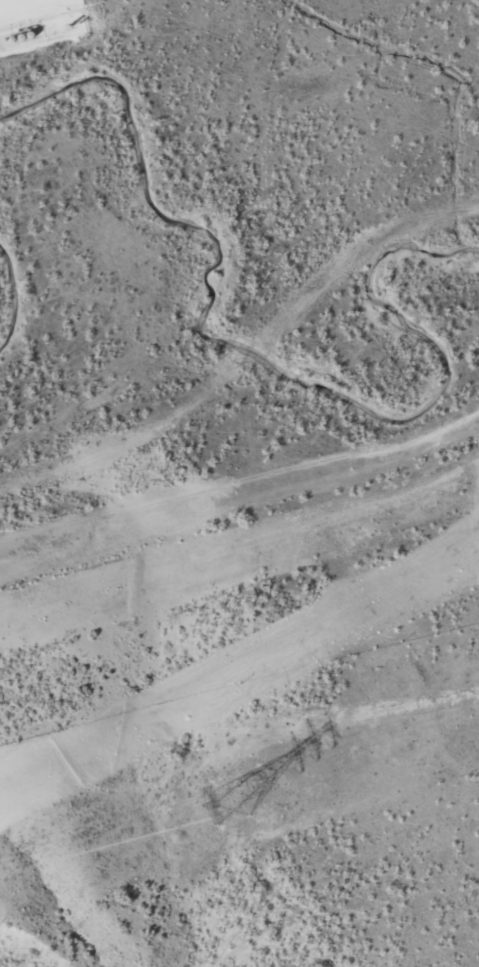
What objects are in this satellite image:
power tower: (230, 803)

